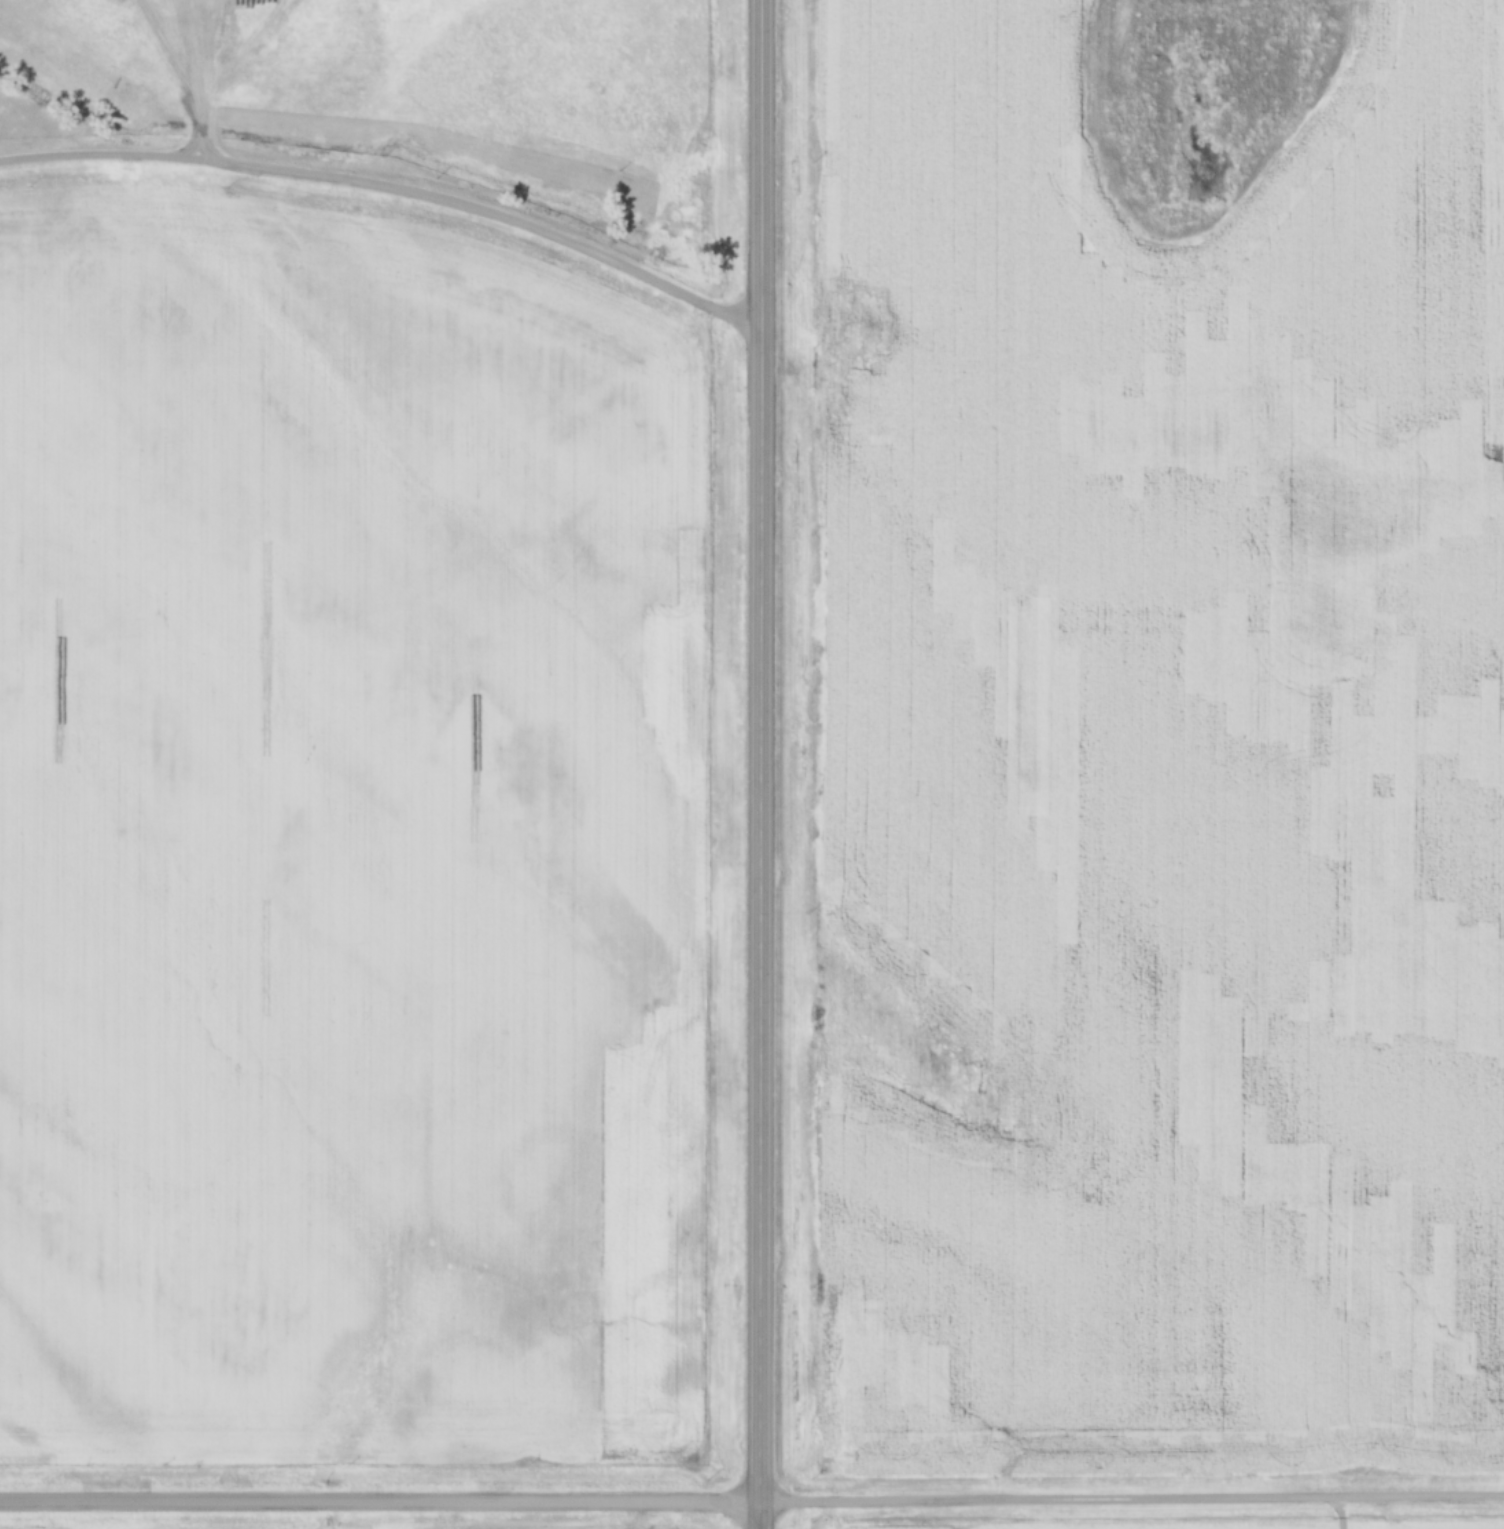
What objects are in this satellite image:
building: (1395, 311)
road: (763, 764)
road: (1133, 1501)
road: (381, 1502)

